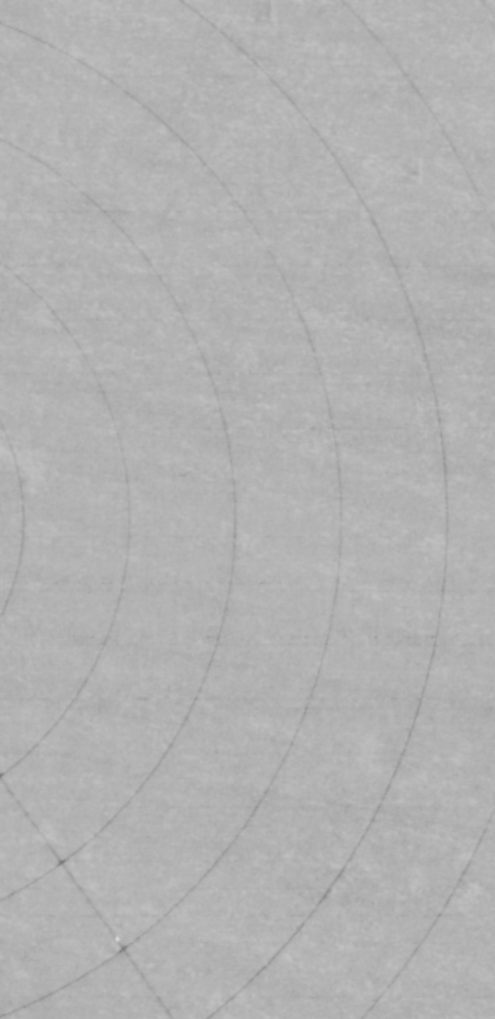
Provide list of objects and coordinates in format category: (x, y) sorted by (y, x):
crop: (247, 509)

